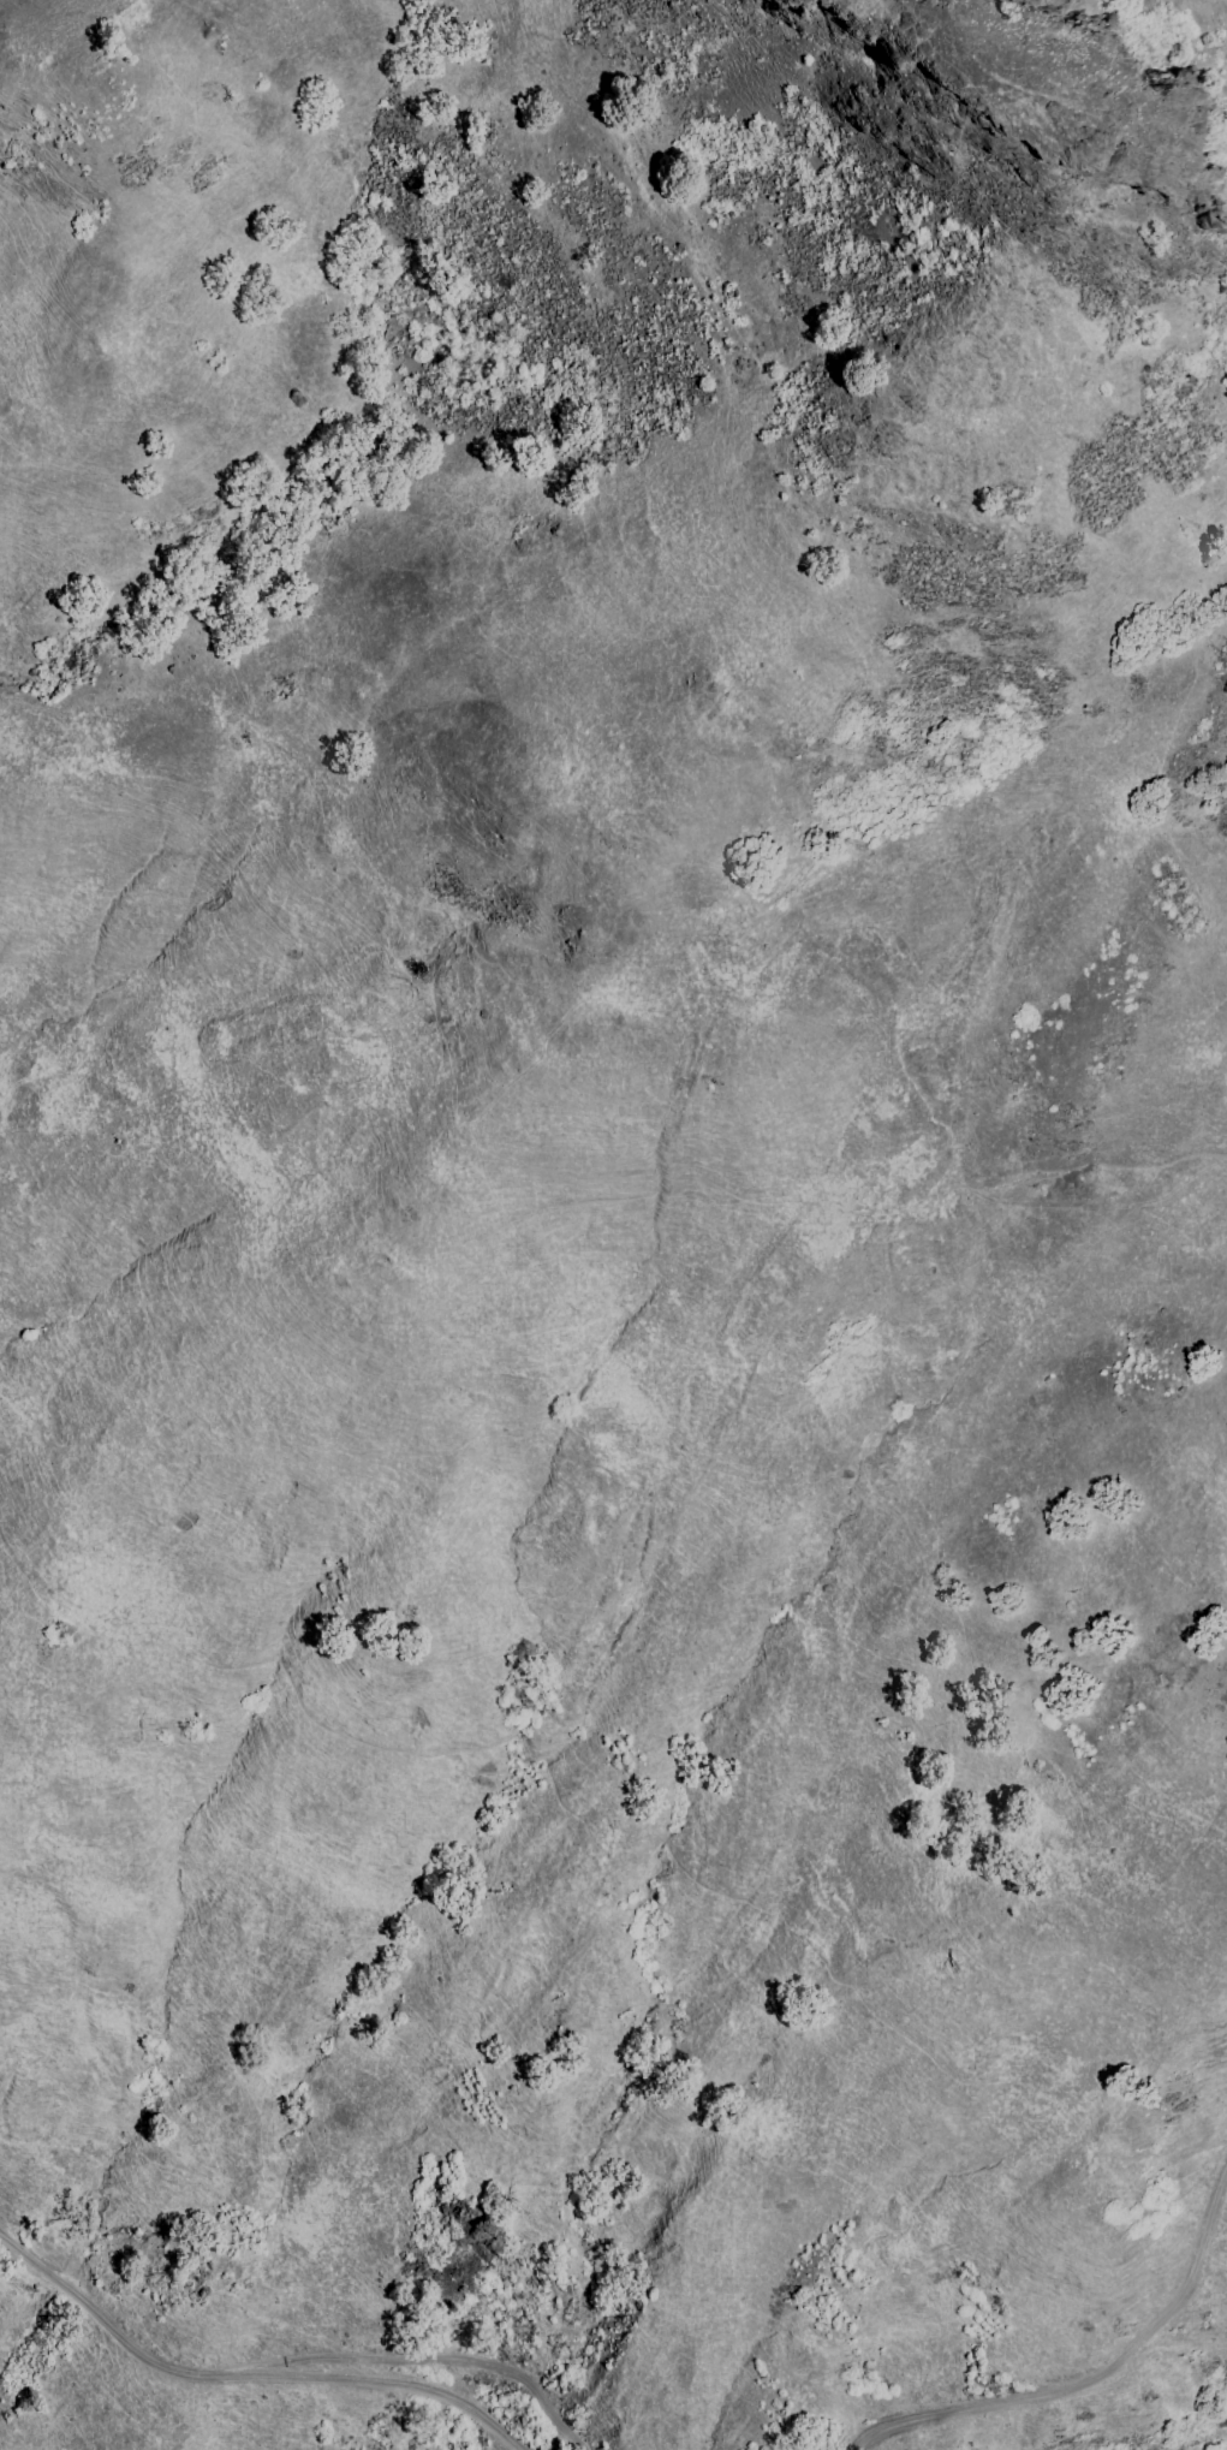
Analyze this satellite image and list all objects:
road: (431, 2359)
road: (1097, 2372)
road: (244, 2379)

